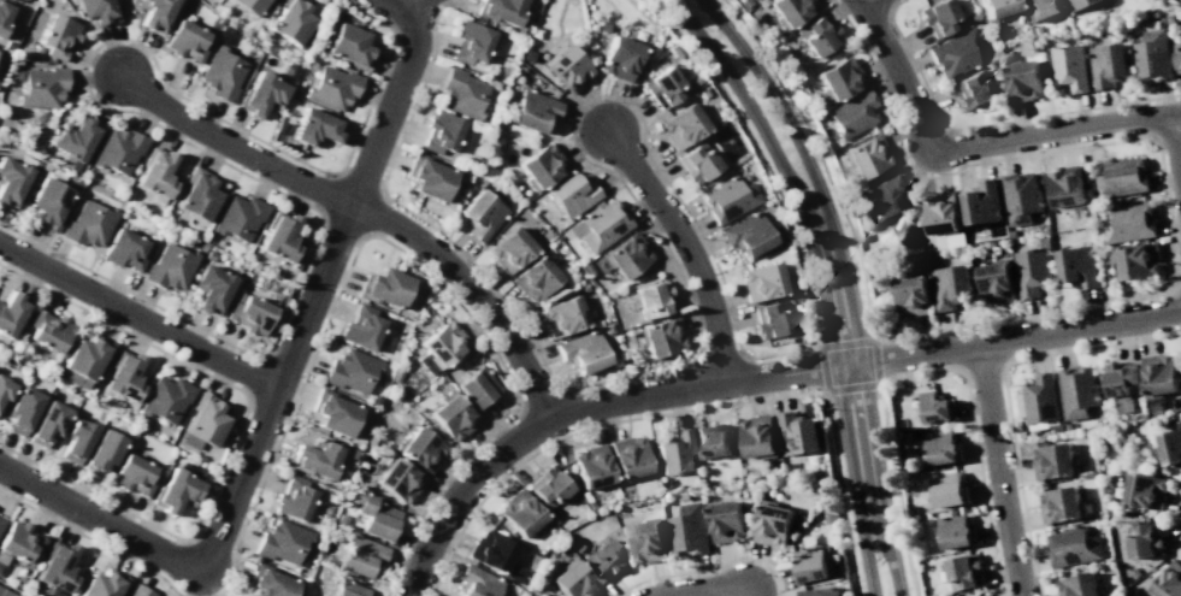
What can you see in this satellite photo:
road: (862, 1)
building: (760, 2)
road: (391, 4)
road: (401, 4)
building: (1079, 4)
building: (248, 5)
road: (447, 5)
building: (998, 7)
building: (1043, 8)
building: (500, 10)
building: (98, 11)
building: (790, 11)
building: (155, 13)
building: (4, 14)
building: (938, 17)
building: (290, 19)
building: (602, 26)
building: (816, 35)
building: (57, 36)
building: (185, 41)
building: (470, 42)
building: (302, 43)
building: (348, 45)
building: (1035, 46)
road: (142, 47)
building: (955, 53)
building: (1177, 54)
building: (526, 55)
building: (1152, 55)
building: (619, 57)
building: (1108, 64)
building: (986, 65)
building: (1069, 66)
building: (566, 67)
road: (84, 73)
building: (222, 73)
building: (839, 78)
building: (1023, 79)
road: (884, 84)
building: (41, 87)
building: (332, 87)
building: (660, 87)
building: (973, 90)
building: (261, 94)
building: (461, 94)
road: (618, 96)
building: (533, 111)
building: (850, 114)
road: (991, 123)
building: (681, 124)
road: (1180, 125)
building: (315, 126)
building: (439, 131)
building: (75, 140)
road: (976, 144)
road: (231, 146)
building: (118, 149)
road: (577, 152)
building: (864, 155)
road: (761, 157)
road: (821, 159)
building: (696, 163)
building: (539, 165)
building: (478, 169)
road: (337, 170)
building: (155, 173)
building: (427, 176)
building: (1121, 177)
building: (11, 181)
building: (1065, 187)
building: (197, 194)
building: (571, 194)
building: (881, 197)
building: (1021, 197)
building: (727, 199)
building: (49, 202)
building: (981, 202)
building: (480, 214)
building: (237, 217)
building: (944, 219)
building: (1128, 222)
building: (88, 224)
building: (598, 225)
building: (745, 234)
building: (279, 236)
road: (1174, 246)
road: (686, 247)
building: (124, 249)
building: (508, 249)
road: (402, 252)
building: (624, 255)
building: (1135, 260)
building: (170, 266)
building: (1076, 266)
building: (1032, 270)
building: (535, 277)
road: (720, 277)
road: (823, 278)
road: (846, 279)
building: (761, 281)
building: (994, 281)
building: (383, 287)
building: (950, 287)
road: (315, 288)
building: (211, 289)
road: (472, 290)
building: (913, 295)
building: (650, 299)
building: (12, 312)
building: (248, 314)
road: (137, 315)
building: (561, 315)
road: (283, 317)
building: (769, 320)
building: (360, 327)
building: (47, 330)
building: (660, 336)
road: (874, 338)
building: (442, 343)
road: (816, 344)
road: (820, 347)
road: (535, 348)
building: (583, 352)
building: (83, 360)
building: (349, 370)
building: (123, 376)
building: (395, 376)
building: (1159, 376)
road: (749, 378)
building: (1122, 383)
building: (477, 388)
building: (4, 389)
building: (1076, 391)
road: (826, 393)
road: (1005, 393)
building: (165, 399)
building: (373, 400)
building: (1040, 401)
building: (935, 406)
building: (22, 409)
building: (333, 412)
building: (451, 417)
building: (202, 421)
building: (47, 424)
road: (587, 427)
building: (796, 432)
road: (235, 437)
building: (758, 437)
building: (76, 439)
building: (370, 441)
building: (711, 441)
road: (975, 442)
building: (941, 447)
building: (1170, 447)
building: (419, 448)
building: (102, 450)
building: (349, 452)
building: (674, 453)
building: (315, 458)
building: (627, 459)
building: (1052, 460)
building: (591, 467)
road: (997, 471)
building: (132, 474)
building: (397, 479)
building: (665, 482)
building: (750, 485)
building: (547, 486)
road: (897, 489)
building: (949, 489)
building: (175, 490)
building: (1142, 490)
road: (839, 495)
building: (684, 496)
building: (293, 498)
building: (1059, 504)
building: (326, 511)
building: (519, 513)
building: (373, 514)
building: (829, 515)
road: (101, 519)
building: (339, 519)
building: (0, 520)
building: (725, 520)
road: (1177, 520)
building: (772, 523)
building: (799, 523)
building: (687, 530)
building: (955, 531)
road: (93, 541)
building: (281, 541)
building: (648, 541)
building: (1141, 541)
building: (18, 543)
building: (575, 545)
building: (1073, 547)
building: (490, 551)
building: (359, 555)
road: (740, 557)
building: (604, 560)
building: (813, 563)
building: (57, 566)
building: (964, 572)
building: (1134, 572)
building: (515, 574)
road: (659, 576)
building: (267, 580)
building: (573, 580)
building: (1168, 580)
building: (18, 582)
building: (477, 582)
road: (779, 583)
building: (104, 584)
building: (1079, 585)
building: (348, 589)
building: (518, 590)
road: (703, 590)
building: (138, 591)
building: (820, 591)
building: (5, 592)
building: (981, 595)

